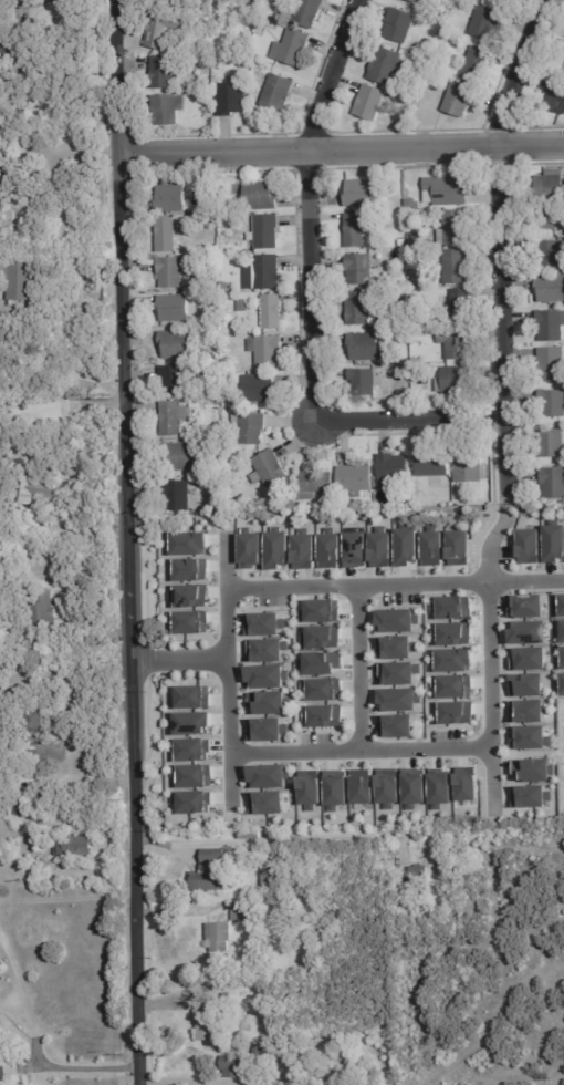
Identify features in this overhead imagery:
building: (503, 0)
building: (412, 1)
building: (416, 1)
building: (309, 12)
building: (267, 22)
building: (437, 22)
building: (488, 22)
building: (400, 24)
building: (163, 30)
building: (425, 45)
building: (295, 46)
building: (19, 56)
building: (418, 58)
building: (477, 63)
building: (561, 64)
building: (388, 65)
building: (164, 72)
building: (428, 82)
building: (205, 86)
building: (278, 93)
building: (205, 94)
building: (393, 94)
building: (556, 97)
building: (232, 99)
building: (405, 100)
building: (460, 100)
building: (373, 103)
building: (168, 108)
road: (343, 147)
road: (62, 154)
building: (6, 187)
building: (551, 187)
building: (446, 192)
building: (361, 194)
building: (260, 196)
building: (173, 199)
building: (412, 204)
road: (305, 206)
building: (207, 208)
road: (13, 213)
building: (546, 221)
building: (455, 228)
building: (358, 230)
building: (267, 232)
building: (166, 236)
road: (497, 242)
building: (401, 244)
building: (411, 254)
building: (552, 255)
building: (456, 267)
building: (361, 269)
building: (171, 272)
building: (268, 272)
building: (189, 280)
building: (21, 281)
building: (223, 287)
building: (551, 289)
building: (403, 300)
building: (243, 304)
building: (460, 306)
building: (175, 309)
building: (362, 310)
building: (272, 312)
building: (257, 316)
building: (551, 325)
building: (232, 329)
building: (404, 337)
building: (6, 338)
building: (456, 343)
building: (179, 345)
building: (364, 348)
building: (267, 351)
building: (552, 364)
building: (174, 381)
building: (366, 382)
building: (453, 382)
building: (425, 387)
building: (261, 389)
building: (407, 400)
road: (63, 403)
building: (553, 404)
road: (407, 417)
building: (173, 418)
building: (250, 428)
building: (552, 443)
building: (180, 457)
building: (435, 467)
building: (470, 468)
building: (269, 469)
building: (394, 469)
building: (356, 478)
building: (553, 483)
building: (314, 485)
building: (23, 487)
building: (178, 497)
building: (470, 497)
road: (503, 499)
building: (424, 504)
road: (504, 512)
road: (128, 541)
building: (553, 541)
building: (187, 544)
building: (405, 545)
building: (528, 546)
building: (431, 547)
building: (458, 547)
building: (248, 548)
building: (326, 548)
building: (379, 548)
building: (274, 549)
building: (302, 549)
building: (353, 549)
building: (190, 570)
road: (394, 583)
building: (188, 596)
building: (561, 604)
building: (525, 606)
building: (451, 607)
building: (44, 611)
building: (320, 611)
building: (396, 619)
building: (188, 621)
building: (263, 623)
building: (561, 631)
building: (526, 632)
building: (452, 633)
building: (321, 637)
building: (394, 647)
building: (265, 649)
building: (528, 658)
building: (562, 658)
road: (177, 659)
building: (451, 660)
road: (488, 661)
building: (318, 662)
road: (357, 668)
road: (226, 669)
building: (398, 673)
building: (265, 675)
building: (525, 684)
building: (562, 684)
building: (452, 685)
building: (321, 689)
building: (191, 696)
building: (398, 699)
building: (14, 700)
building: (267, 702)
building: (525, 711)
building: (455, 712)
building: (323, 715)
building: (39, 722)
building: (189, 723)
park: (56, 726)
building: (395, 726)
building: (265, 728)
building: (529, 737)
building: (189, 748)
road: (358, 751)
building: (533, 769)
building: (191, 775)
building: (268, 776)
building: (466, 784)
building: (361, 786)
building: (387, 787)
building: (412, 787)
building: (309, 788)
building: (334, 788)
building: (438, 788)
building: (529, 796)
building: (191, 800)
building: (265, 802)
building: (20, 814)
building: (251, 837)
building: (75, 848)
building: (213, 874)
building: (265, 874)
building: (415, 875)
road: (66, 898)
building: (237, 911)
building: (217, 937)
building: (205, 1020)
building: (0, 1030)
road: (34, 1048)
building: (237, 1066)
building: (8, 1068)

